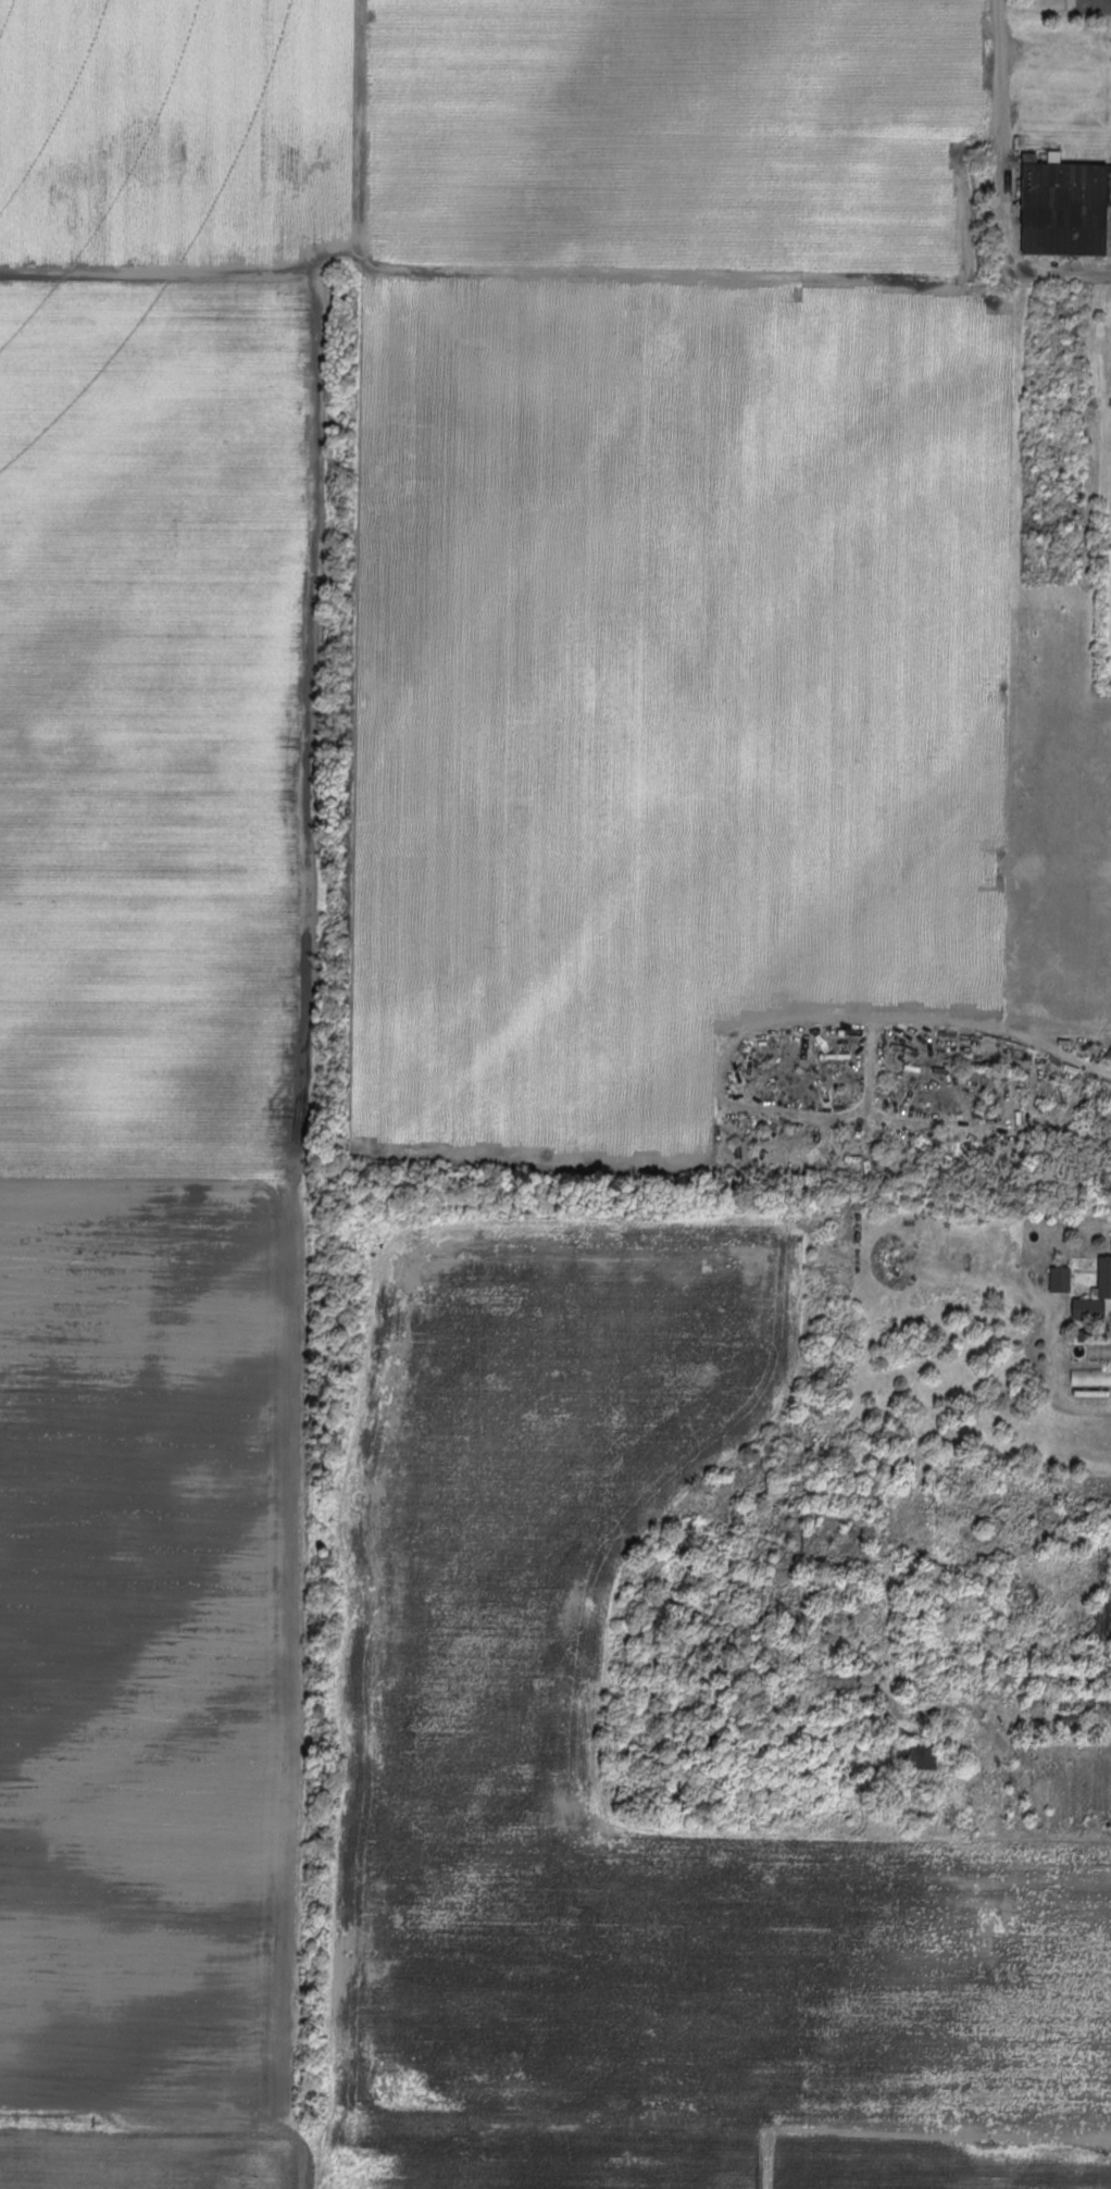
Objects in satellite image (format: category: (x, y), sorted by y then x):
road: (999, 135)
building: (1069, 207)
road: (1057, 273)
road: (1109, 327)
building: (1106, 1276)
building: (1062, 1277)
building: (1091, 1307)
building: (1091, 1376)
building: (1103, 1632)
building: (1011, 1672)
building: (845, 1678)
building: (1072, 1696)
building: (1056, 1716)
road: (1059, 1744)
building: (923, 1752)

